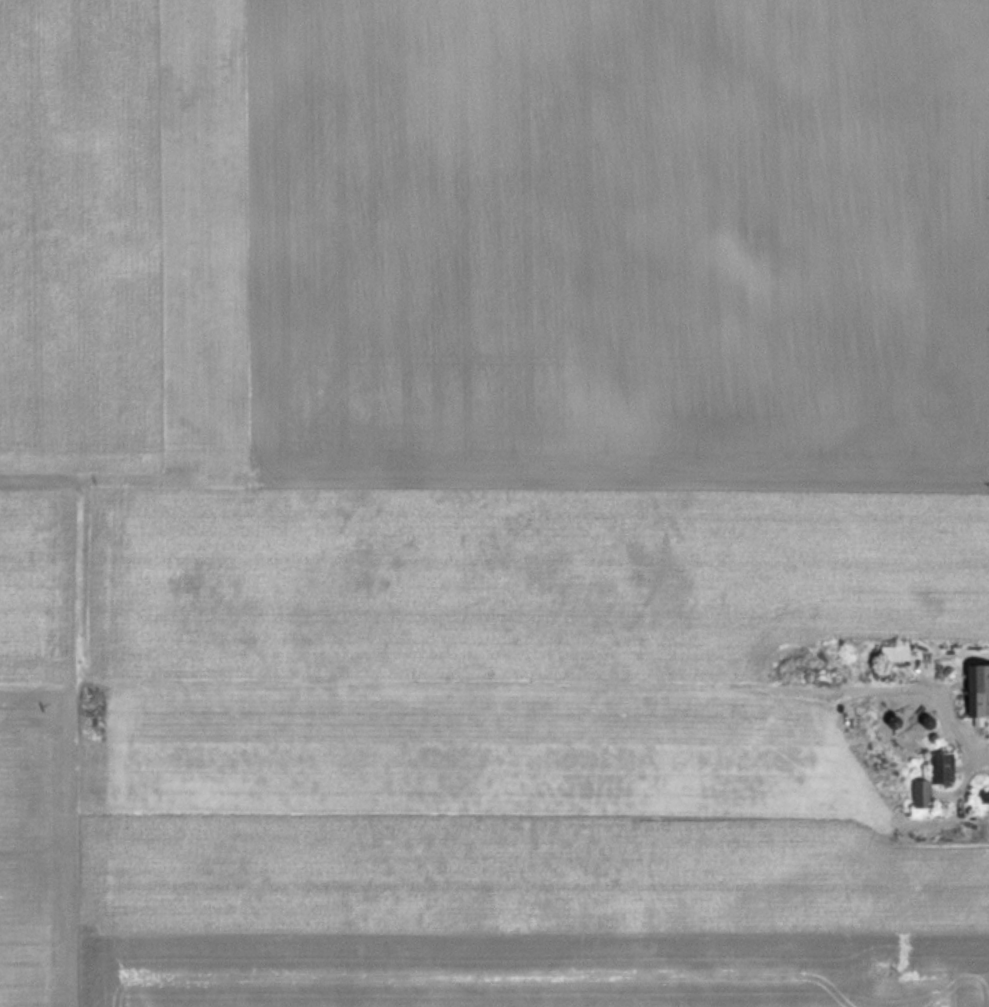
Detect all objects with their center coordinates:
building: (893, 652)
building: (977, 689)
road: (938, 693)
building: (941, 766)
building: (920, 792)
building: (984, 796)

